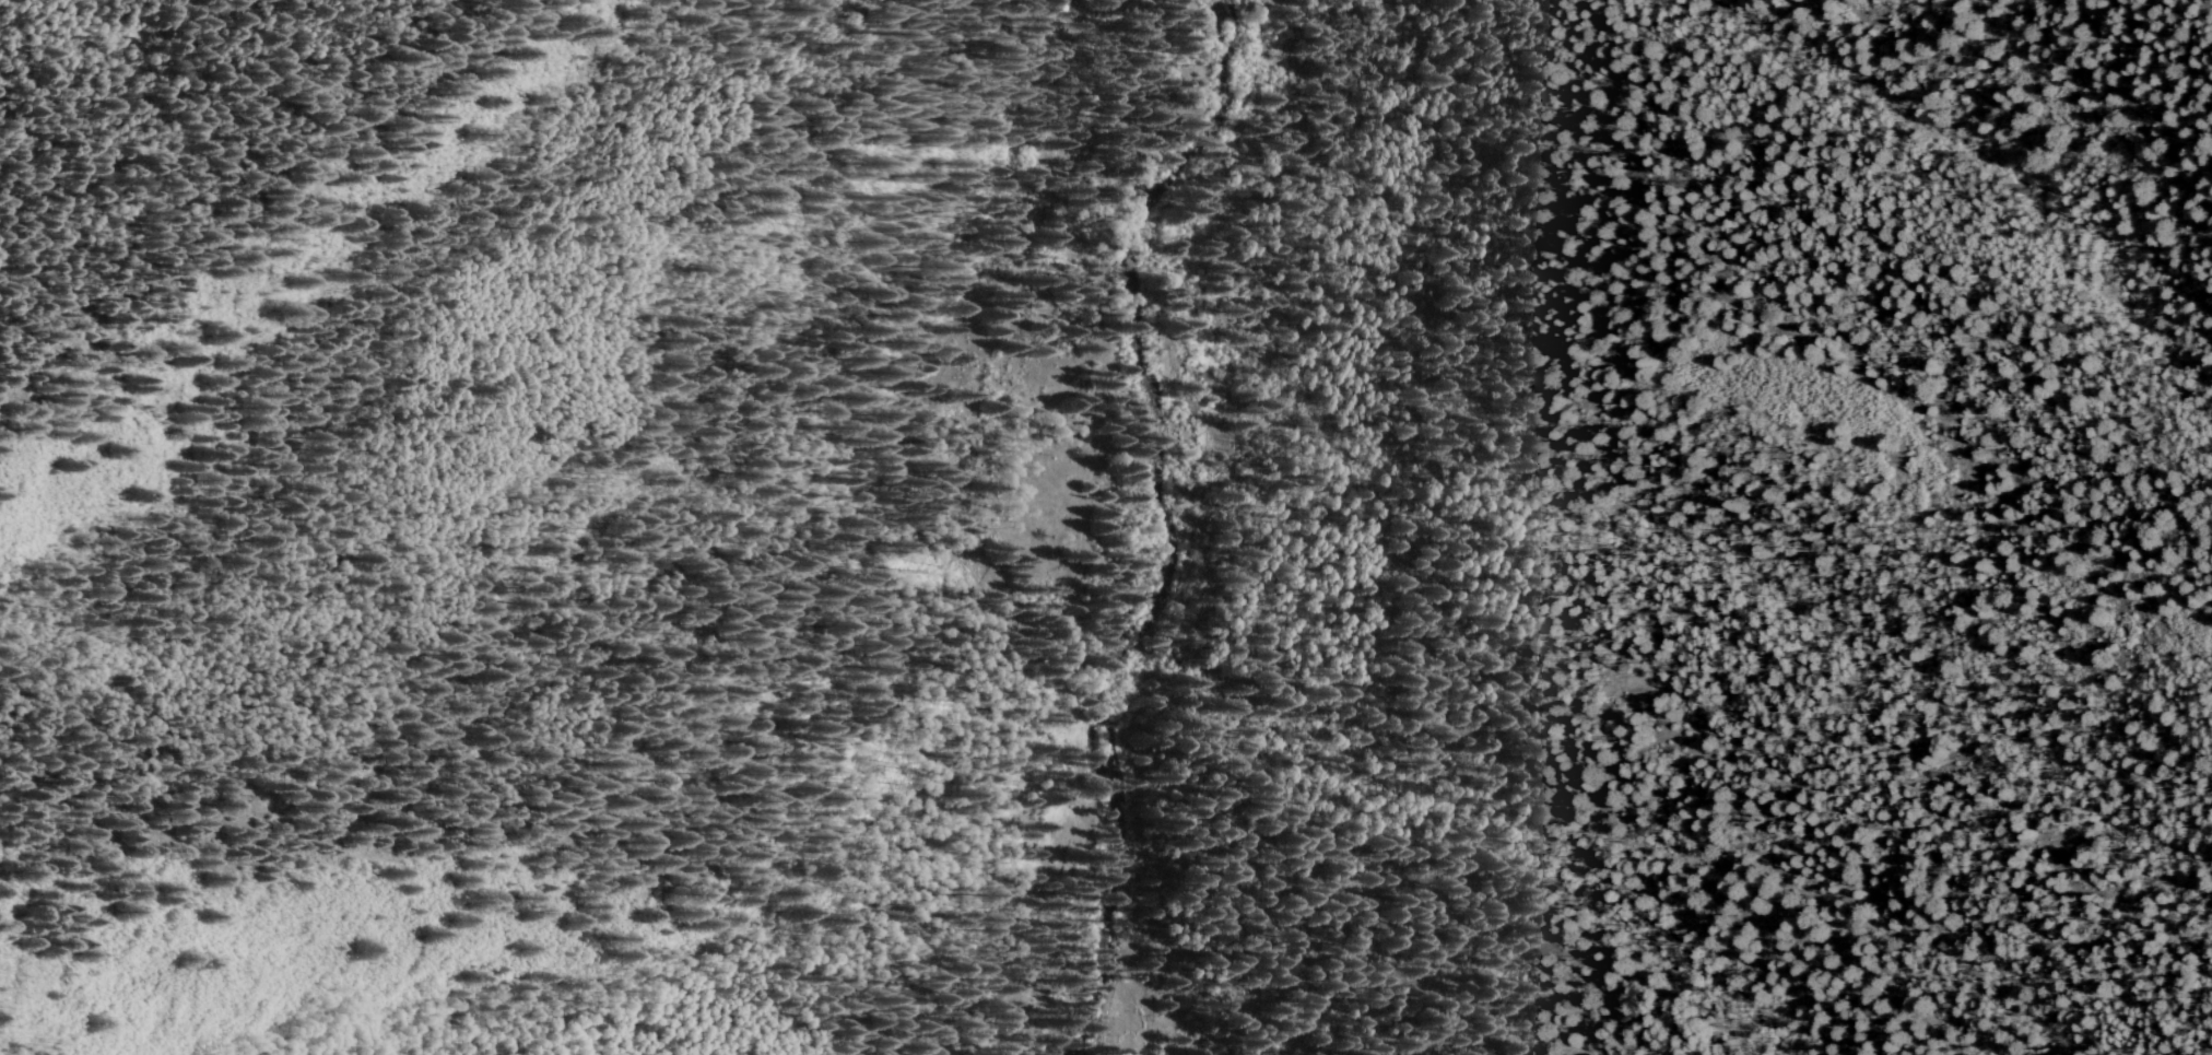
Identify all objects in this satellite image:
road: (1031, 28)
road: (932, 513)
river: (1173, 515)
road: (1325, 717)
road: (1082, 735)

